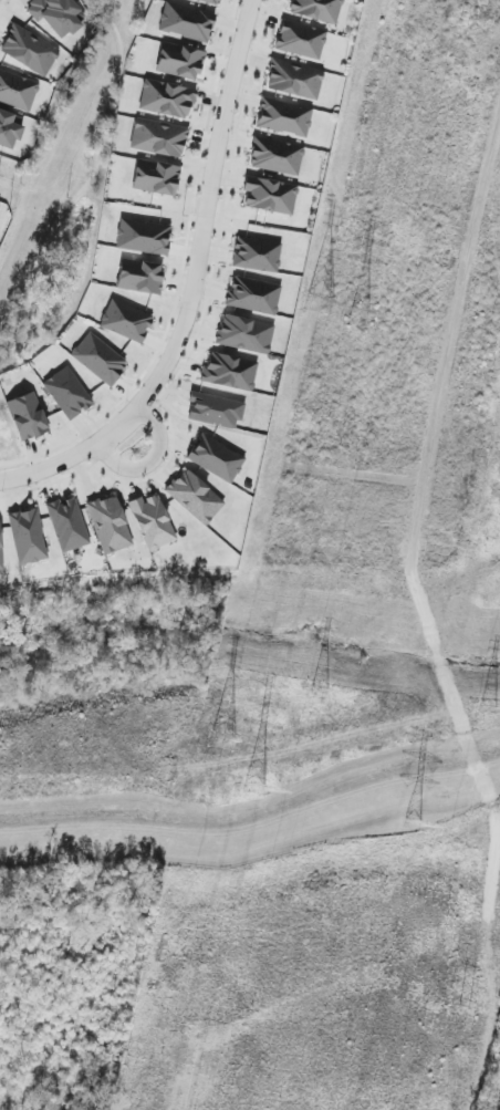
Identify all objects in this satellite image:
building: (210, 1)
building: (317, 10)
building: (56, 15)
power tower: (462, 20)
building: (187, 22)
building: (301, 40)
building: (29, 51)
building: (180, 61)
building: (294, 80)
building: (18, 91)
building: (167, 98)
building: (284, 117)
building: (10, 128)
building: (158, 138)
building: (277, 156)
building: (156, 177)
road: (90, 179)
power tower: (343, 184)
building: (270, 196)
building: (0, 201)
building: (257, 255)
road: (185, 258)
building: (139, 277)
road: (194, 288)
building: (253, 295)
power tower: (360, 317)
building: (126, 321)
building: (246, 334)
building: (98, 360)
road: (445, 366)
building: (230, 372)
road: (442, 374)
building: (67, 393)
building: (27, 417)
road: (33, 456)
building: (216, 458)
road: (18, 463)
road: (150, 465)
building: (195, 497)
building: (153, 522)
building: (67, 525)
building: (110, 525)
building: (28, 537)
building: (1, 548)
road: (437, 652)
road: (435, 653)
power tower: (314, 692)
road: (452, 696)
power tower: (486, 710)
road: (467, 738)
road: (477, 769)
power tower: (256, 790)
road: (487, 793)
power tower: (208, 803)
power tower: (410, 826)
road: (231, 839)
road: (429, 958)
road: (371, 977)
power tower: (461, 1013)

